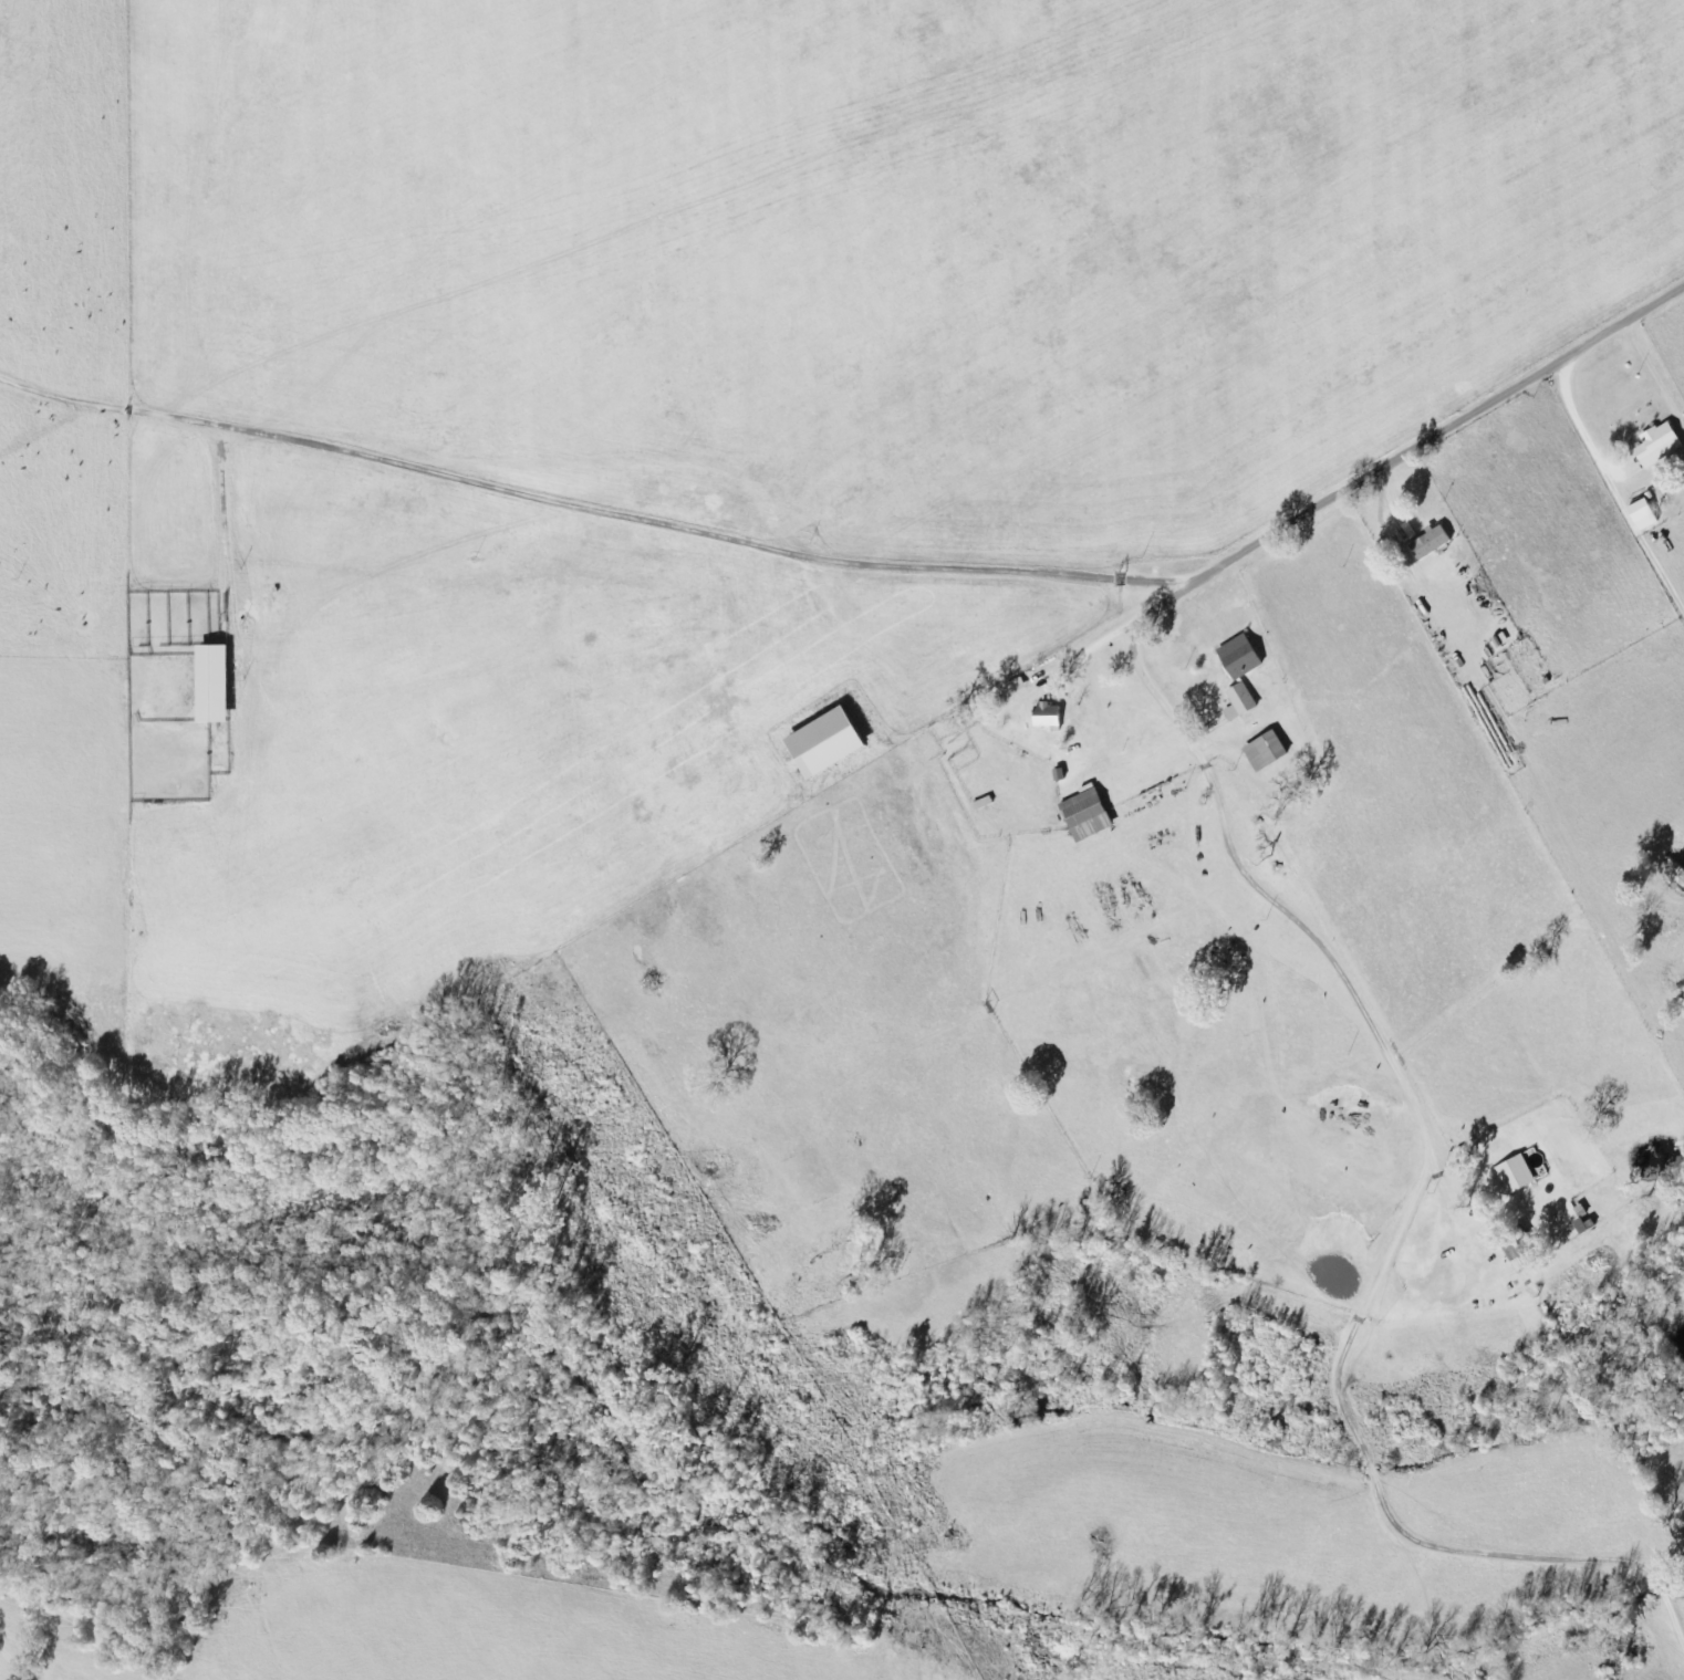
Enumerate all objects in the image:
building: (1655, 445)
road: (882, 508)
building: (1636, 511)
building: (1240, 650)
building: (1250, 666)
building: (218, 684)
building: (1243, 702)
building: (1050, 717)
building: (833, 742)
building: (1269, 751)
building: (1091, 815)
building: (1513, 1173)

